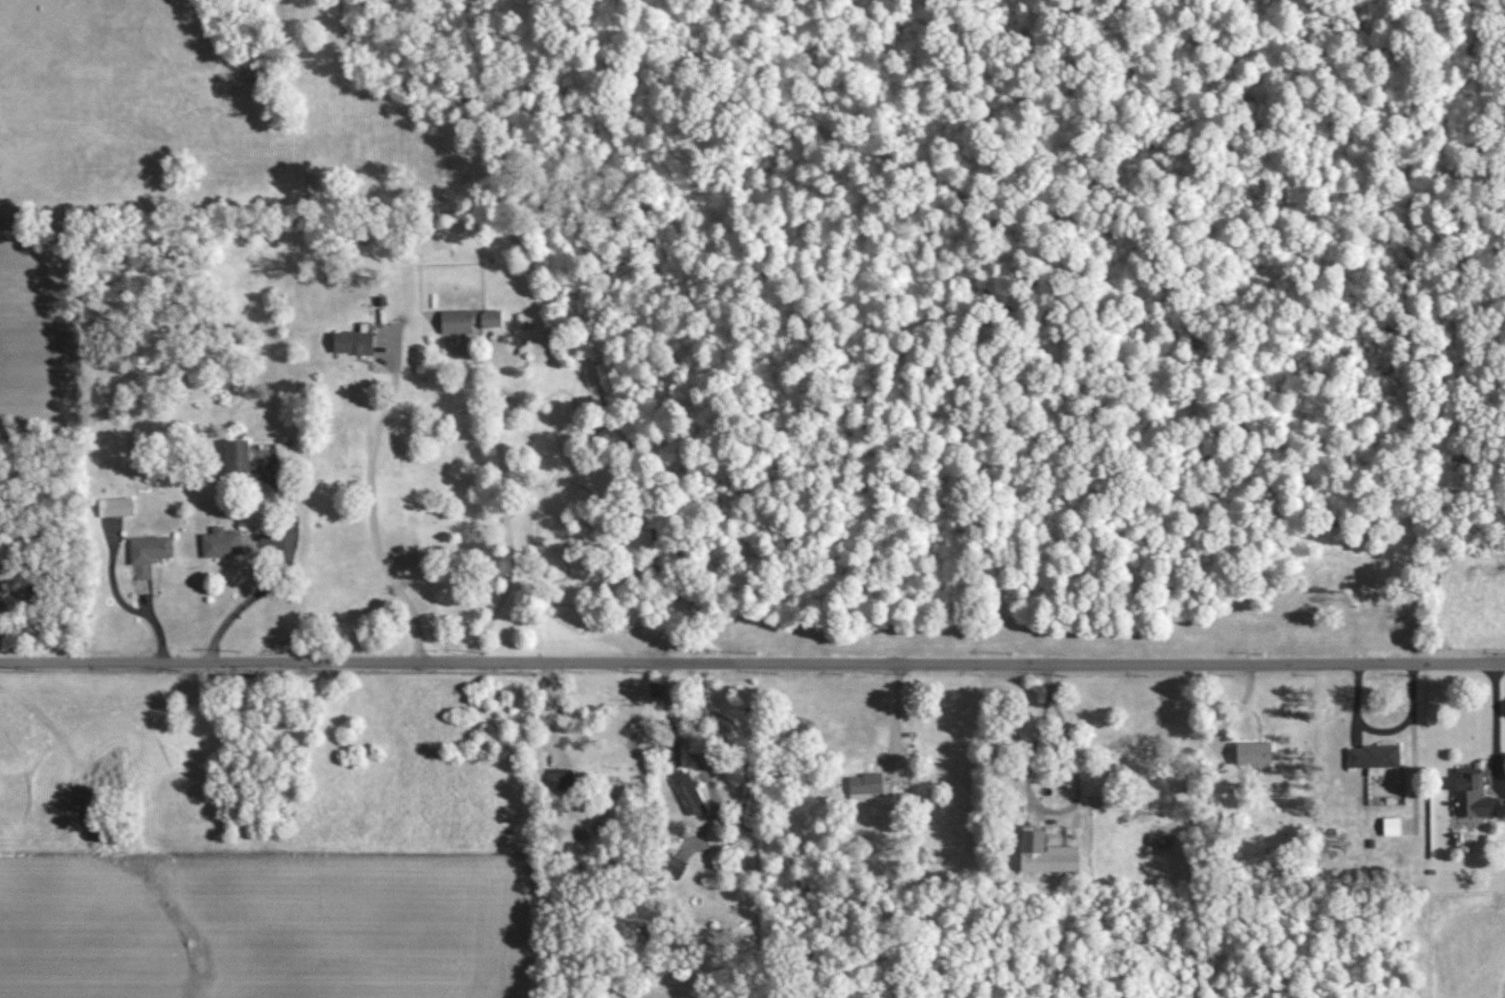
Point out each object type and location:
building: (467, 320)
building: (353, 342)
building: (236, 457)
road: (364, 499)
building: (114, 507)
road: (493, 510)
building: (220, 542)
building: (148, 554)
road: (251, 587)
road: (752, 662)
road: (1044, 674)
road: (1413, 720)
road: (1495, 722)
road: (894, 725)
road: (684, 741)
building: (1253, 753)
road: (584, 757)
building: (1374, 758)
building: (559, 779)
building: (866, 786)
building: (687, 791)
building: (1472, 795)
road: (1034, 810)
building: (1391, 827)
building: (1159, 841)
building: (1046, 855)
building: (674, 866)
building: (644, 933)

